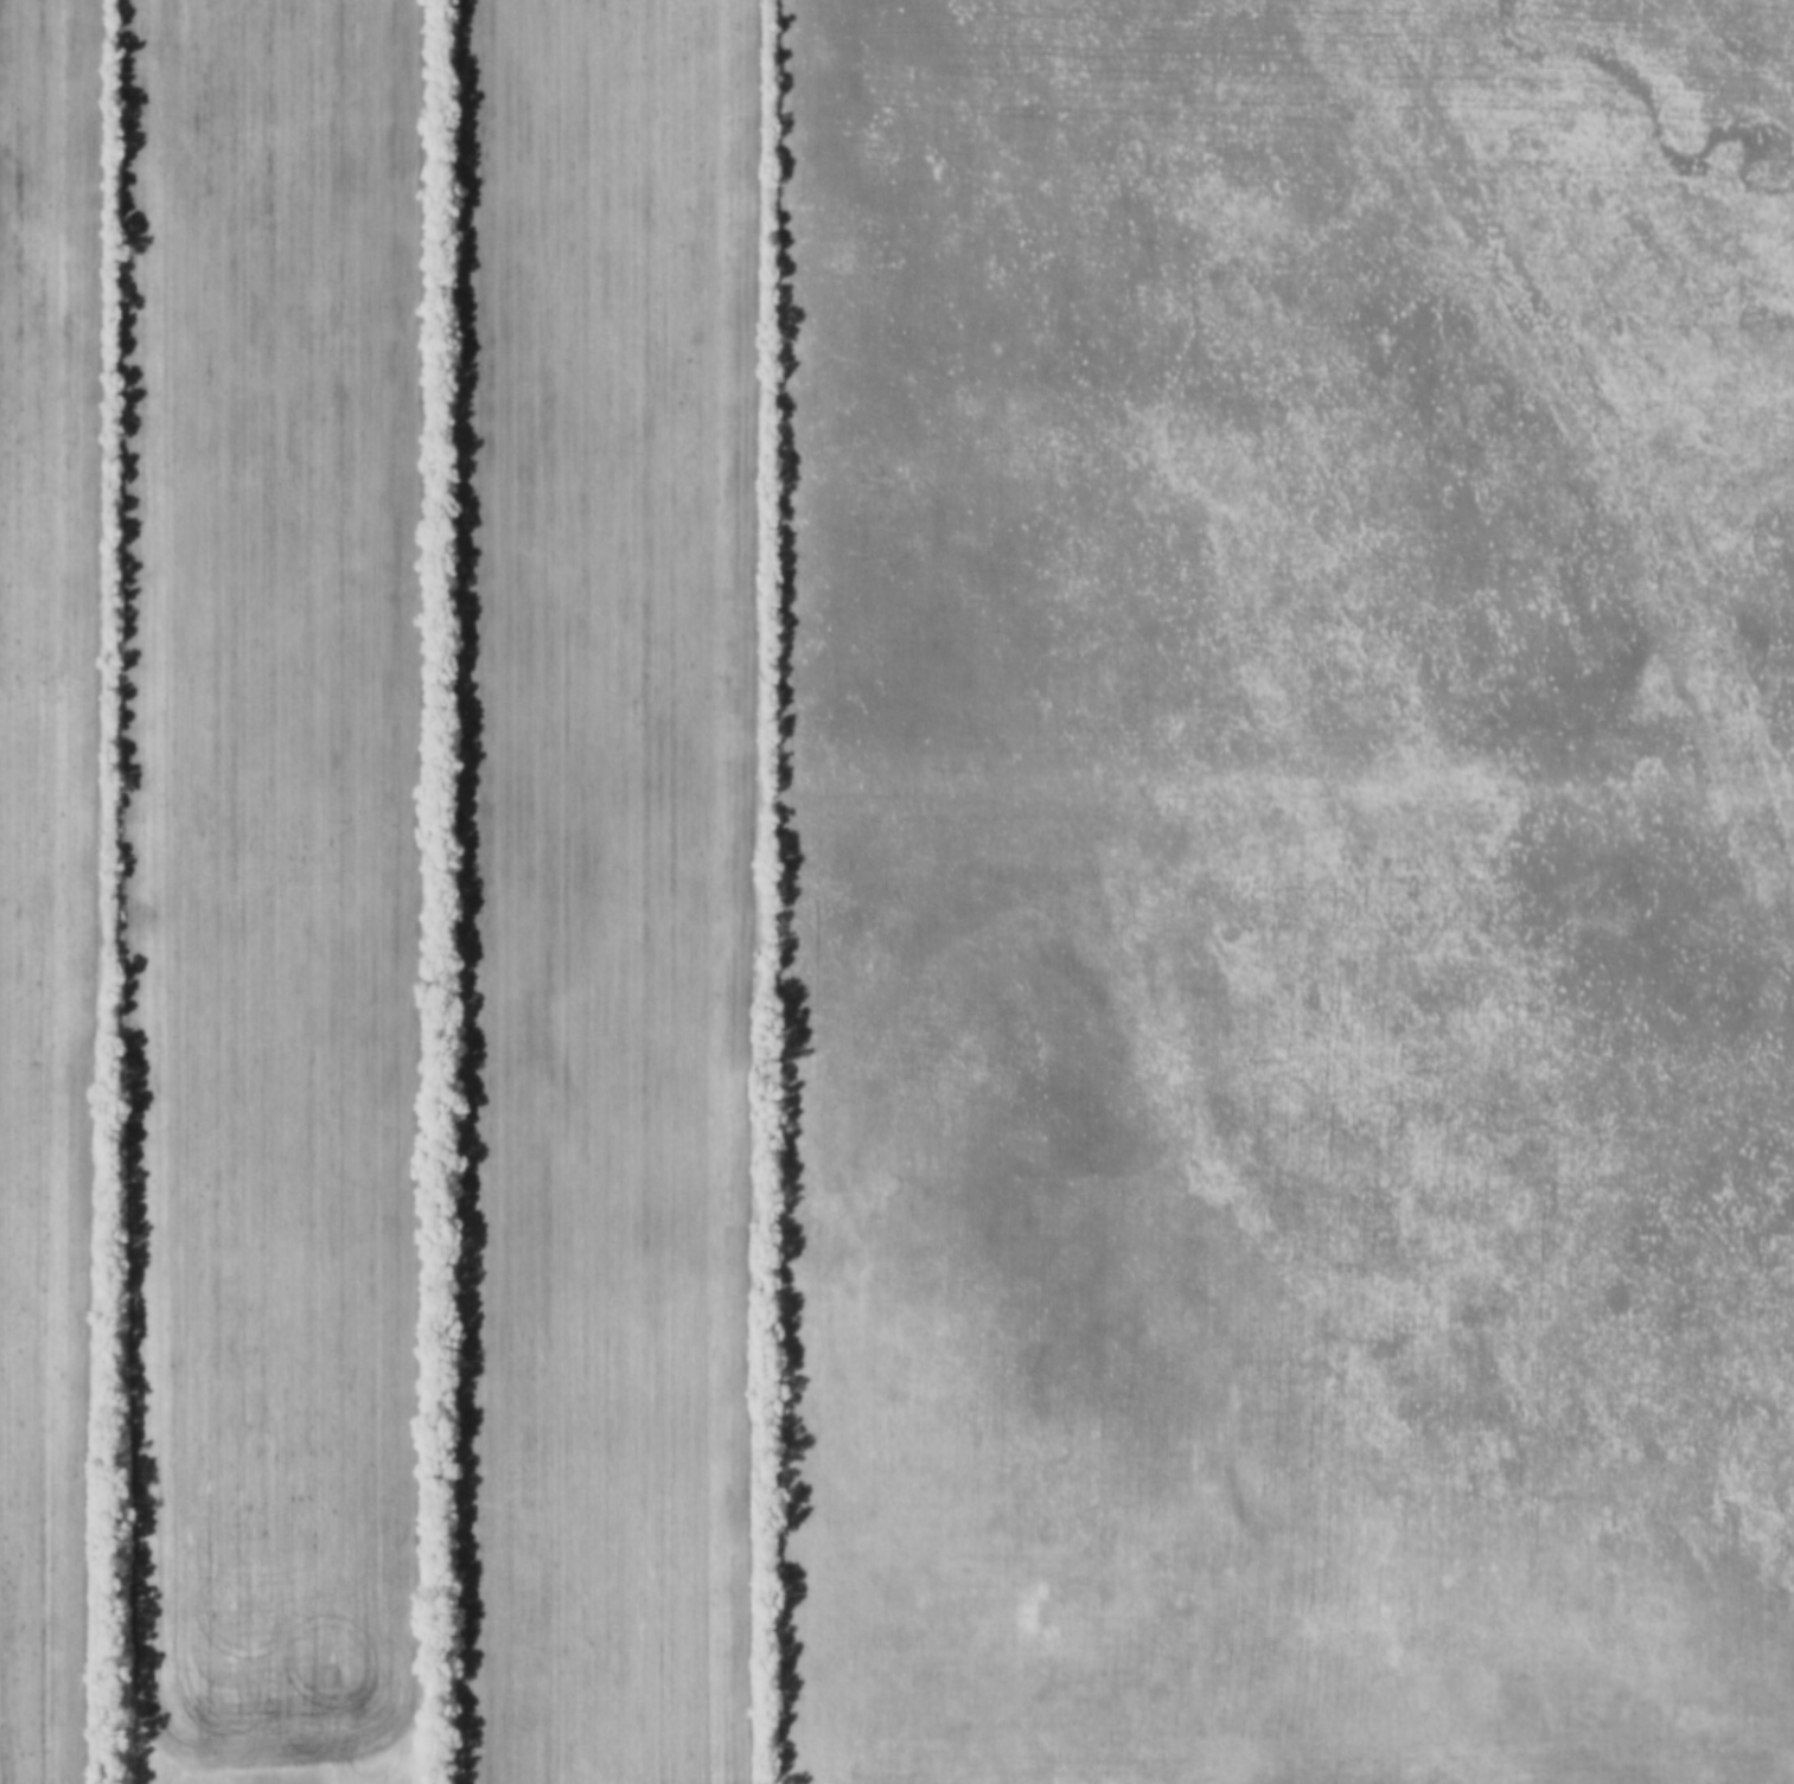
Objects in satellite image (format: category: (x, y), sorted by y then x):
road: (789, 891)

